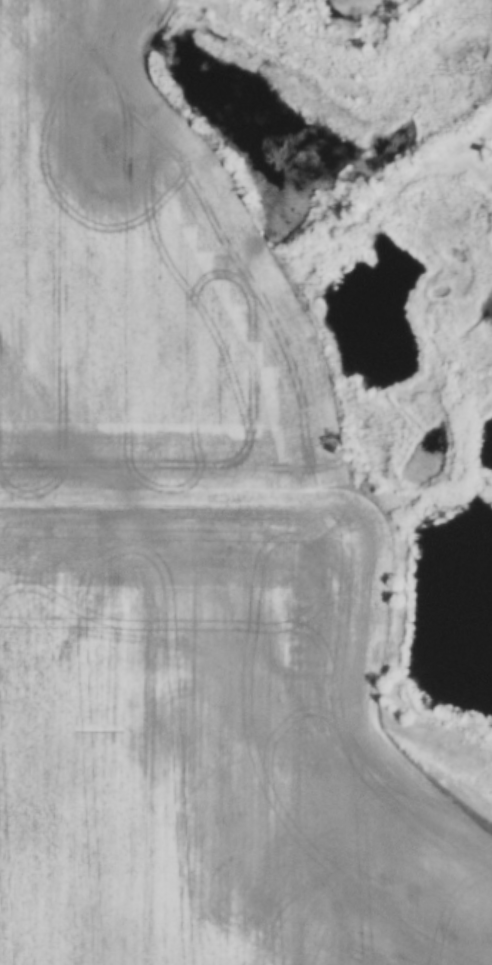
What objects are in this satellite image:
quarry: (439, 636)

